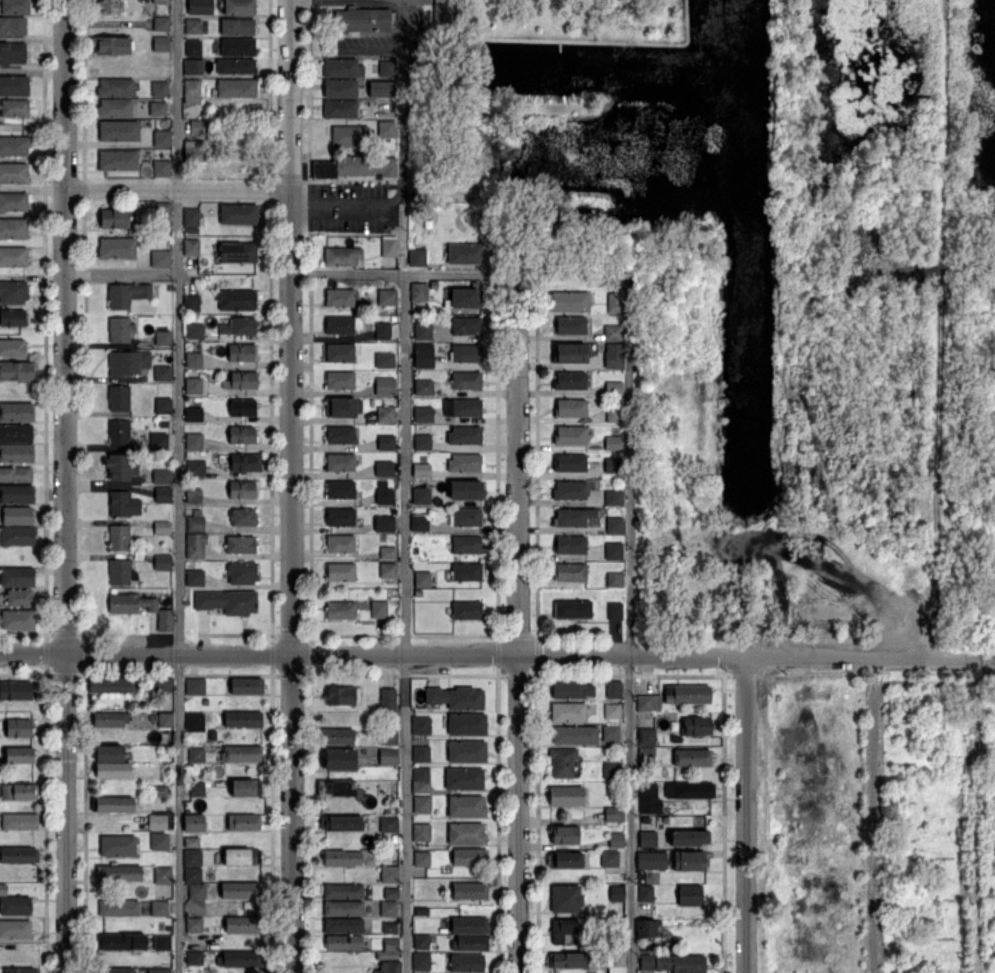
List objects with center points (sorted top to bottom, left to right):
building: (161, 1)
road: (347, 1)
building: (108, 6)
building: (192, 6)
building: (15, 7)
building: (239, 7)
building: (441, 14)
building: (363, 20)
building: (161, 24)
building: (13, 26)
building: (193, 26)
building: (237, 26)
building: (161, 44)
building: (193, 45)
building: (111, 46)
building: (238, 46)
building: (13, 54)
building: (194, 66)
building: (235, 66)
building: (342, 68)
building: (387, 69)
building: (14, 85)
building: (115, 88)
building: (160, 89)
building: (236, 89)
building: (341, 89)
building: (192, 90)
building: (15, 108)
building: (114, 109)
building: (157, 109)
building: (341, 109)
building: (197, 127)
building: (386, 129)
building: (119, 131)
building: (350, 136)
building: (162, 139)
building: (14, 146)
building: (194, 150)
building: (118, 159)
building: (354, 167)
building: (161, 169)
building: (13, 173)
road: (178, 190)
building: (13, 202)
road: (347, 210)
building: (165, 213)
building: (239, 214)
building: (192, 217)
building: (118, 220)
building: (13, 229)
building: (191, 248)
building: (389, 248)
building: (119, 249)
building: (238, 252)
building: (465, 253)
building: (342, 256)
building: (13, 258)
building: (416, 258)
building: (162, 259)
road: (458, 272)
road: (122, 273)
building: (13, 292)
building: (419, 292)
building: (126, 295)
building: (339, 298)
building: (387, 298)
building: (466, 298)
building: (236, 300)
building: (570, 301)
building: (192, 303)
building: (615, 303)
park: (800, 306)
building: (12, 318)
building: (239, 326)
building: (338, 326)
building: (466, 326)
building: (571, 326)
road: (66, 327)
building: (119, 329)
building: (383, 330)
building: (195, 331)
building: (423, 331)
building: (614, 333)
building: (163, 338)
building: (12, 348)
building: (241, 353)
building: (339, 353)
building: (466, 353)
building: (572, 353)
building: (614, 354)
building: (194, 359)
building: (385, 360)
building: (424, 360)
building: (127, 363)
building: (16, 371)
building: (162, 372)
building: (339, 380)
building: (572, 380)
building: (241, 381)
building: (465, 381)
building: (193, 386)
building: (385, 386)
building: (424, 387)
building: (615, 388)
building: (119, 399)
building: (163, 405)
building: (242, 407)
building: (342, 407)
building: (462, 408)
building: (570, 408)
building: (16, 412)
building: (195, 414)
building: (386, 414)
building: (424, 414)
building: (615, 414)
building: (119, 432)
building: (16, 433)
building: (242, 435)
building: (340, 435)
building: (571, 435)
building: (465, 436)
building: (152, 439)
building: (194, 440)
building: (423, 442)
building: (613, 442)
building: (387, 443)
building: (17, 453)
building: (339, 462)
building: (244, 463)
building: (465, 463)
building: (570, 463)
building: (614, 465)
building: (121, 467)
building: (196, 469)
building: (384, 469)
building: (421, 470)
building: (15, 475)
building: (162, 476)
building: (383, 484)
road: (178, 486)
road: (292, 486)
road: (404, 487)
building: (242, 489)
building: (340, 490)
building: (466, 490)
building: (571, 490)
building: (16, 494)
building: (164, 495)
building: (385, 495)
building: (194, 496)
building: (422, 496)
building: (614, 497)
building: (123, 504)
road: (928, 507)
building: (18, 516)
building: (243, 517)
building: (339, 517)
building: (570, 517)
building: (465, 518)
building: (195, 520)
building: (384, 523)
building: (420, 523)
building: (614, 524)
building: (161, 528)
building: (17, 535)
building: (118, 537)
building: (466, 544)
building: (196, 545)
building: (241, 545)
building: (339, 545)
building: (570, 545)
building: (615, 551)
building: (388, 552)
building: (163, 562)
building: (389, 570)
building: (121, 571)
building: (339, 572)
building: (466, 572)
building: (570, 572)
building: (243, 573)
building: (17, 577)
building: (195, 578)
building: (421, 580)
building: (615, 580)
building: (418, 593)
building: (19, 598)
building: (227, 602)
building: (131, 603)
building: (379, 609)
building: (340, 610)
building: (467, 610)
building: (572, 610)
building: (615, 611)
building: (17, 621)
building: (164, 621)
road: (517, 622)
road: (627, 622)
road: (33, 655)
road: (517, 655)
road: (987, 657)
road: (923, 682)
building: (165, 684)
building: (113, 685)
building: (247, 685)
building: (196, 686)
building: (572, 689)
building: (614, 690)
building: (16, 691)
building: (688, 694)
building: (342, 695)
building: (457, 697)
building: (205, 700)
building: (387, 700)
building: (648, 702)
building: (611, 711)
building: (569, 712)
building: (111, 718)
building: (193, 718)
building: (244, 719)
building: (165, 720)
building: (467, 723)
building: (421, 725)
building: (697, 727)
building: (19, 728)
building: (611, 734)
building: (576, 735)
building: (336, 736)
building: (388, 736)
building: (647, 736)
building: (467, 752)
building: (109, 753)
building: (243, 753)
building: (421, 753)
building: (197, 754)
building: (19, 755)
building: (647, 755)
building: (389, 756)
building: (692, 757)
building: (341, 760)
building: (562, 762)
building: (113, 770)
building: (612, 771)
building: (421, 775)
building: (464, 779)
building: (197, 788)
building: (247, 788)
building: (337, 788)
building: (160, 790)
building: (648, 790)
building: (691, 790)
building: (19, 792)
building: (566, 796)
building: (113, 804)
building: (422, 804)
building: (466, 806)
building: (387, 811)
road: (66, 813)
building: (614, 814)
road: (745, 815)
building: (161, 820)
building: (20, 821)
building: (244, 821)
building: (195, 822)
building: (341, 823)
building: (389, 824)
building: (422, 832)
building: (466, 834)
building: (564, 835)
building: (687, 839)
building: (617, 840)
building: (648, 840)
building: (160, 841)
building: (118, 845)
building: (19, 855)
building: (193, 855)
building: (241, 856)
building: (470, 856)
building: (340, 857)
building: (610, 858)
building: (651, 858)
building: (423, 859)
building: (566, 859)
building: (690, 861)
building: (192, 872)
building: (118, 873)
building: (390, 874)
building: (163, 876)
building: (241, 890)
building: (197, 891)
building: (344, 891)
building: (469, 891)
building: (645, 892)
building: (392, 893)
building: (691, 895)
building: (566, 898)
building: (15, 905)
building: (120, 908)
building: (160, 908)
building: (389, 908)
building: (343, 909)
building: (422, 910)
building: (243, 924)
building: (195, 925)
building: (344, 925)
building: (470, 926)
building: (614, 926)
building: (390, 928)
building: (15, 929)
building: (647, 929)
building: (562, 930)
building: (121, 941)
building: (422, 941)
building: (343, 942)
building: (163, 943)
building: (471, 943)
building: (390, 945)
building: (620, 947)
building: (671, 947)
building: (387, 955)
building: (195, 957)
building: (239, 959)
building: (618, 959)
building: (665, 959)
building: (568, 960)
building: (421, 962)
building: (467, 962)
building: (649, 962)
building: (688, 964)
building: (389, 967)
building: (21, 971)
building: (114, 971)
building: (161, 971)

